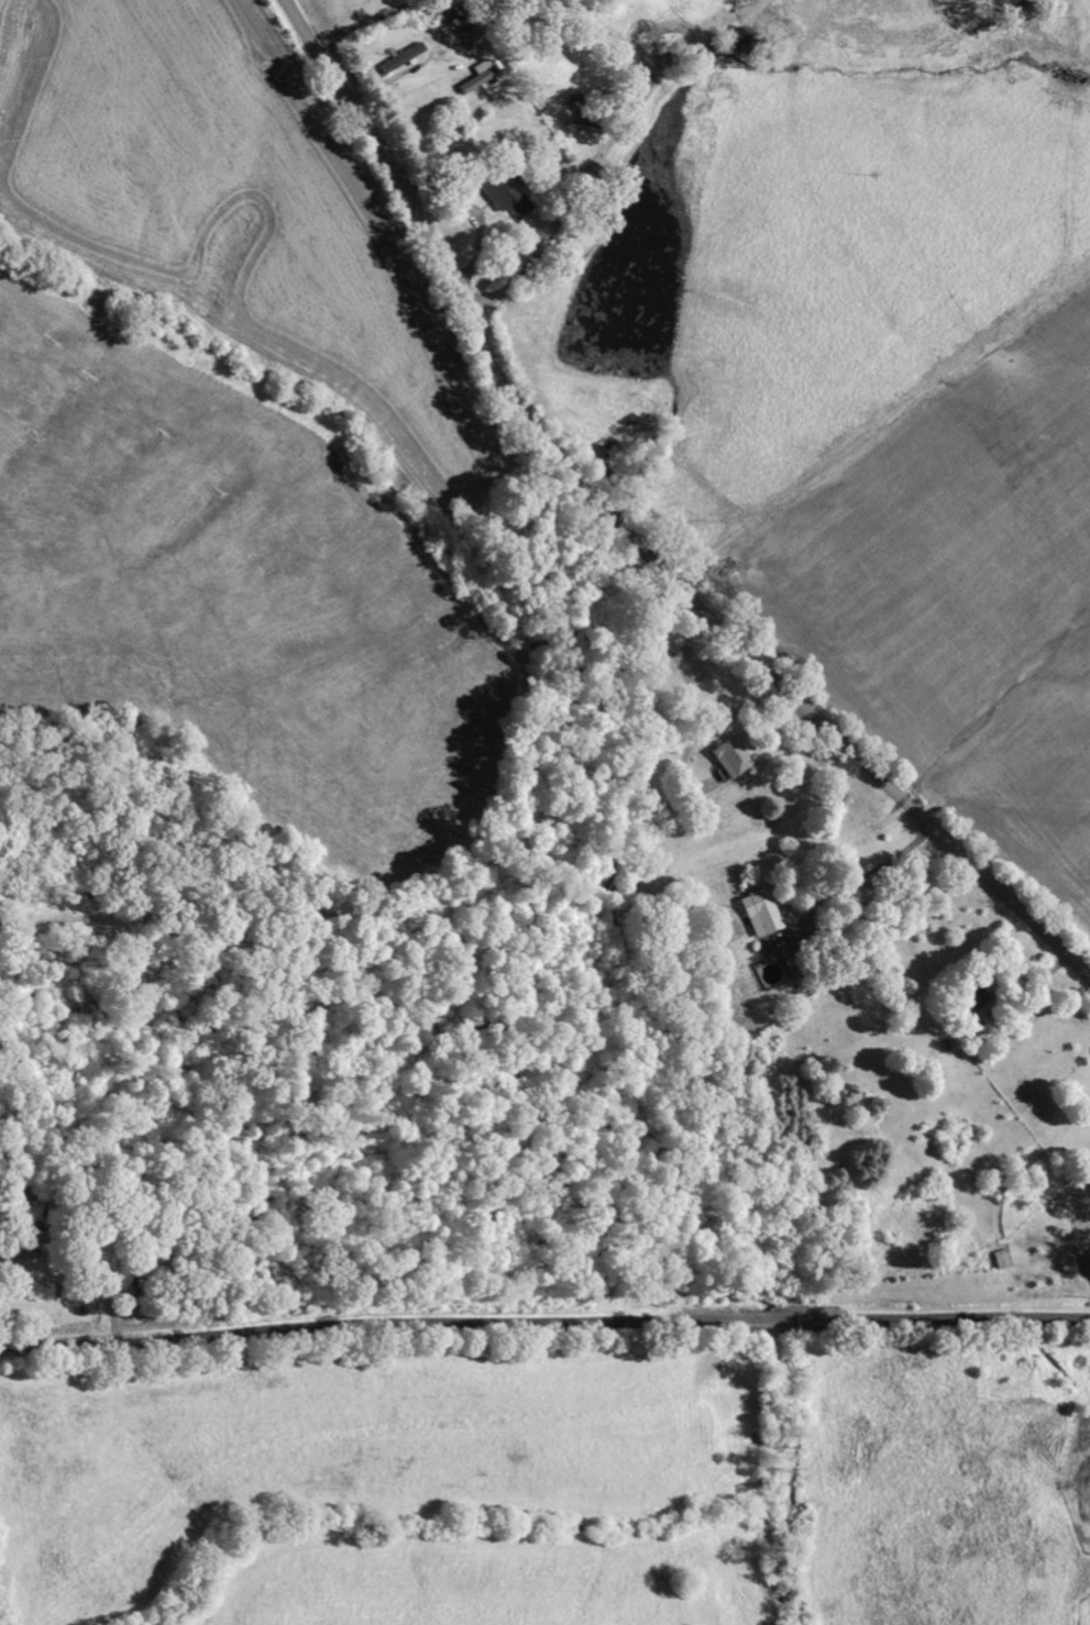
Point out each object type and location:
building: (401, 59)
building: (475, 81)
road: (563, 130)
building: (498, 190)
road: (629, 533)
building: (730, 758)
building: (759, 914)
building: (37, 1211)
road: (544, 1325)

